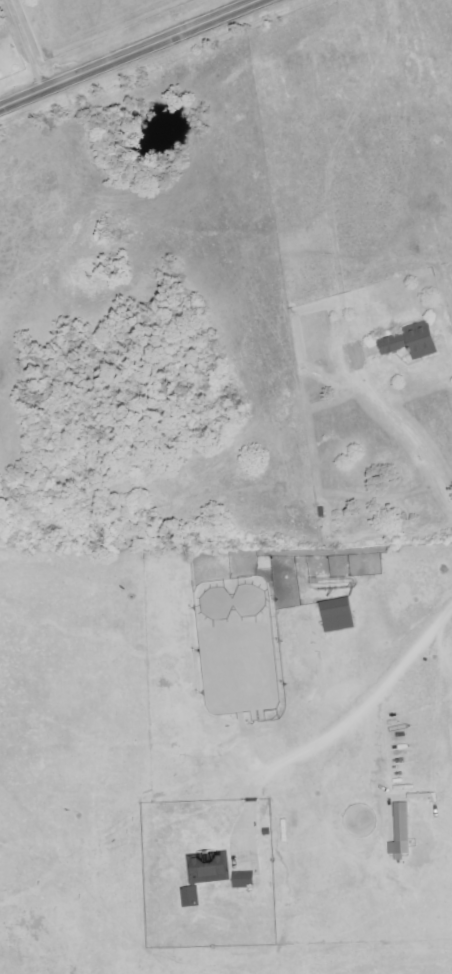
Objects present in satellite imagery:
road: (27, 46)
road: (134, 56)
building: (412, 342)
building: (338, 615)
road: (357, 713)
building: (401, 831)
building: (209, 867)
building: (242, 871)
building: (190, 896)

